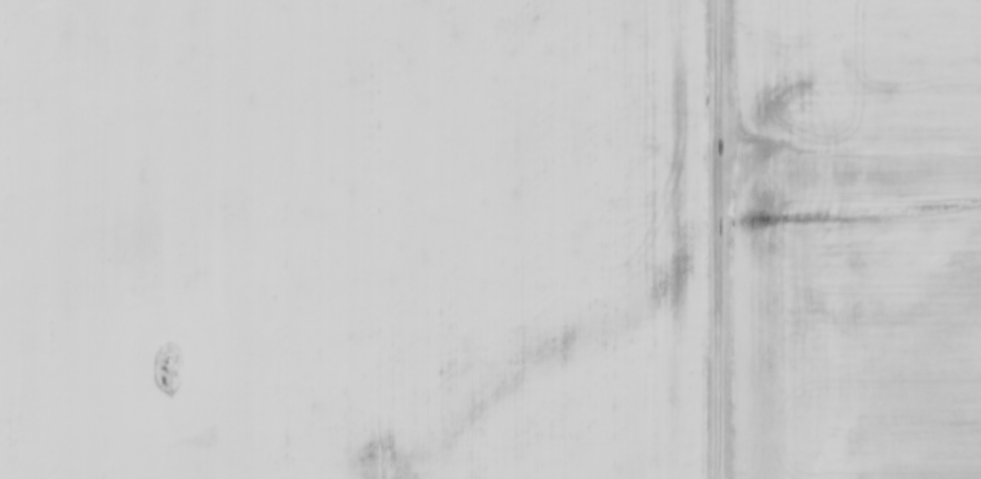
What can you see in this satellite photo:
road: (721, 239)

